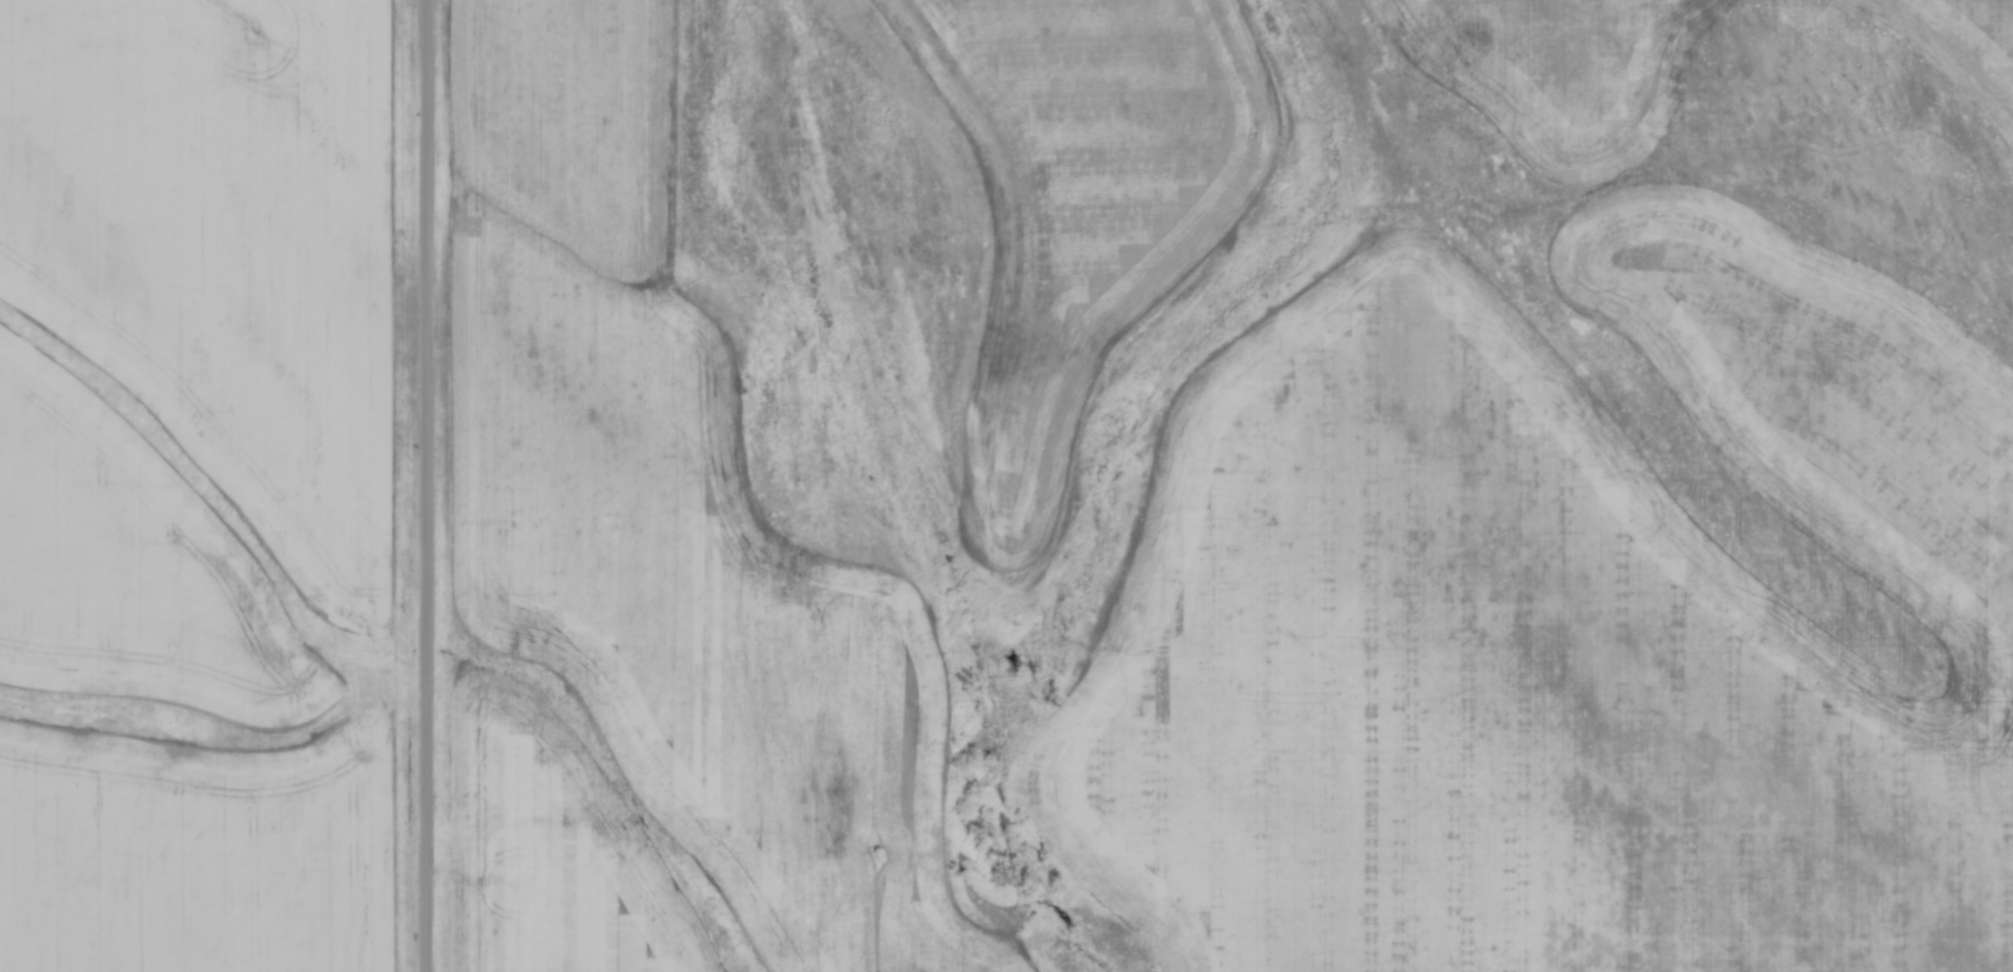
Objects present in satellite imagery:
road: (425, 486)

